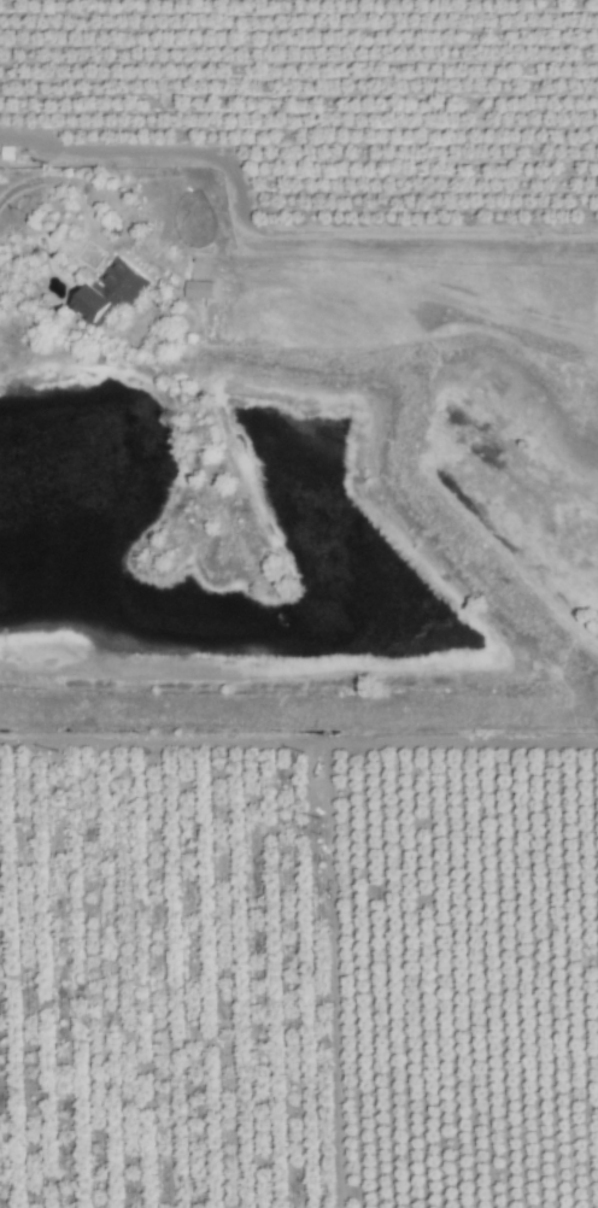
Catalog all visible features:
road: (42, 180)
road: (119, 241)
building: (110, 293)

